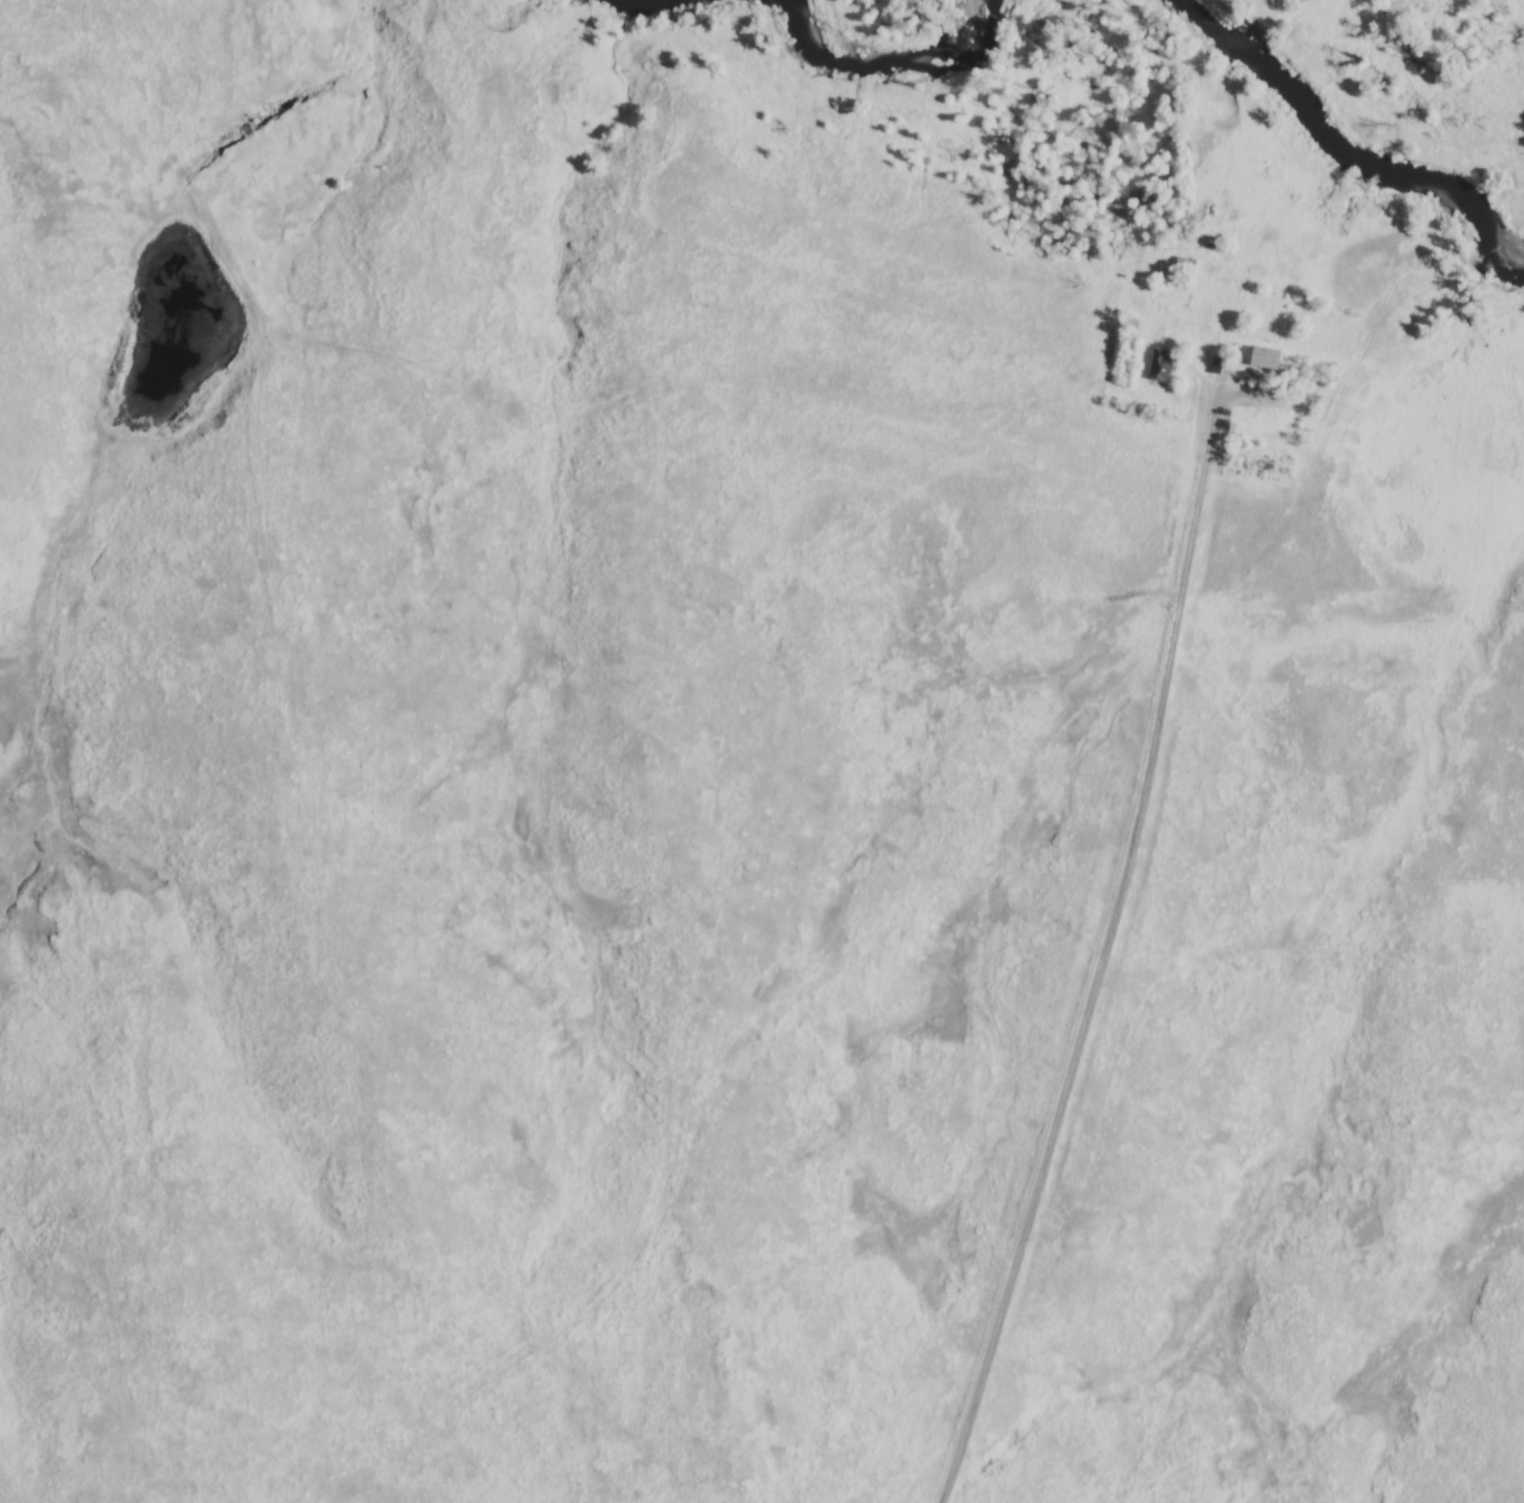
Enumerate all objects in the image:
river: (894, 57)
river: (1350, 163)
building: (1262, 358)
building: (1159, 365)
building: (1220, 366)

